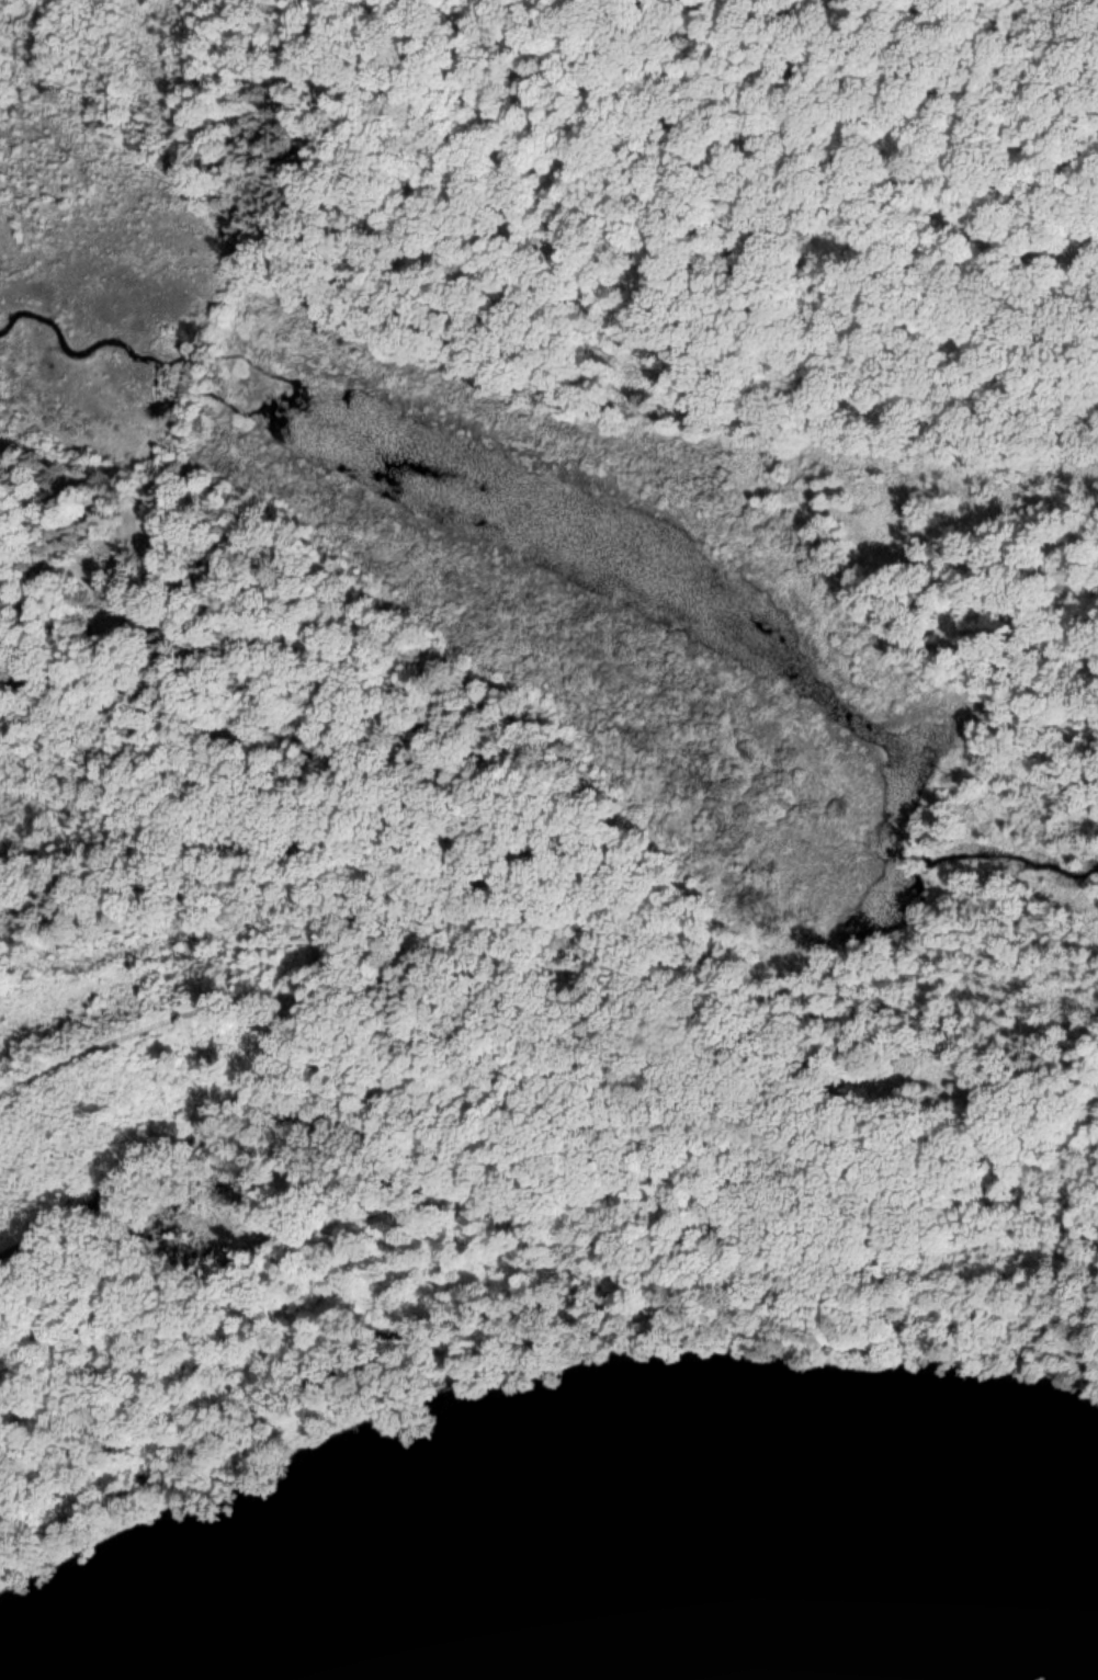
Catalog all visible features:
road: (180, 462)
road: (86, 541)
road: (517, 942)
river: (656, 1547)

